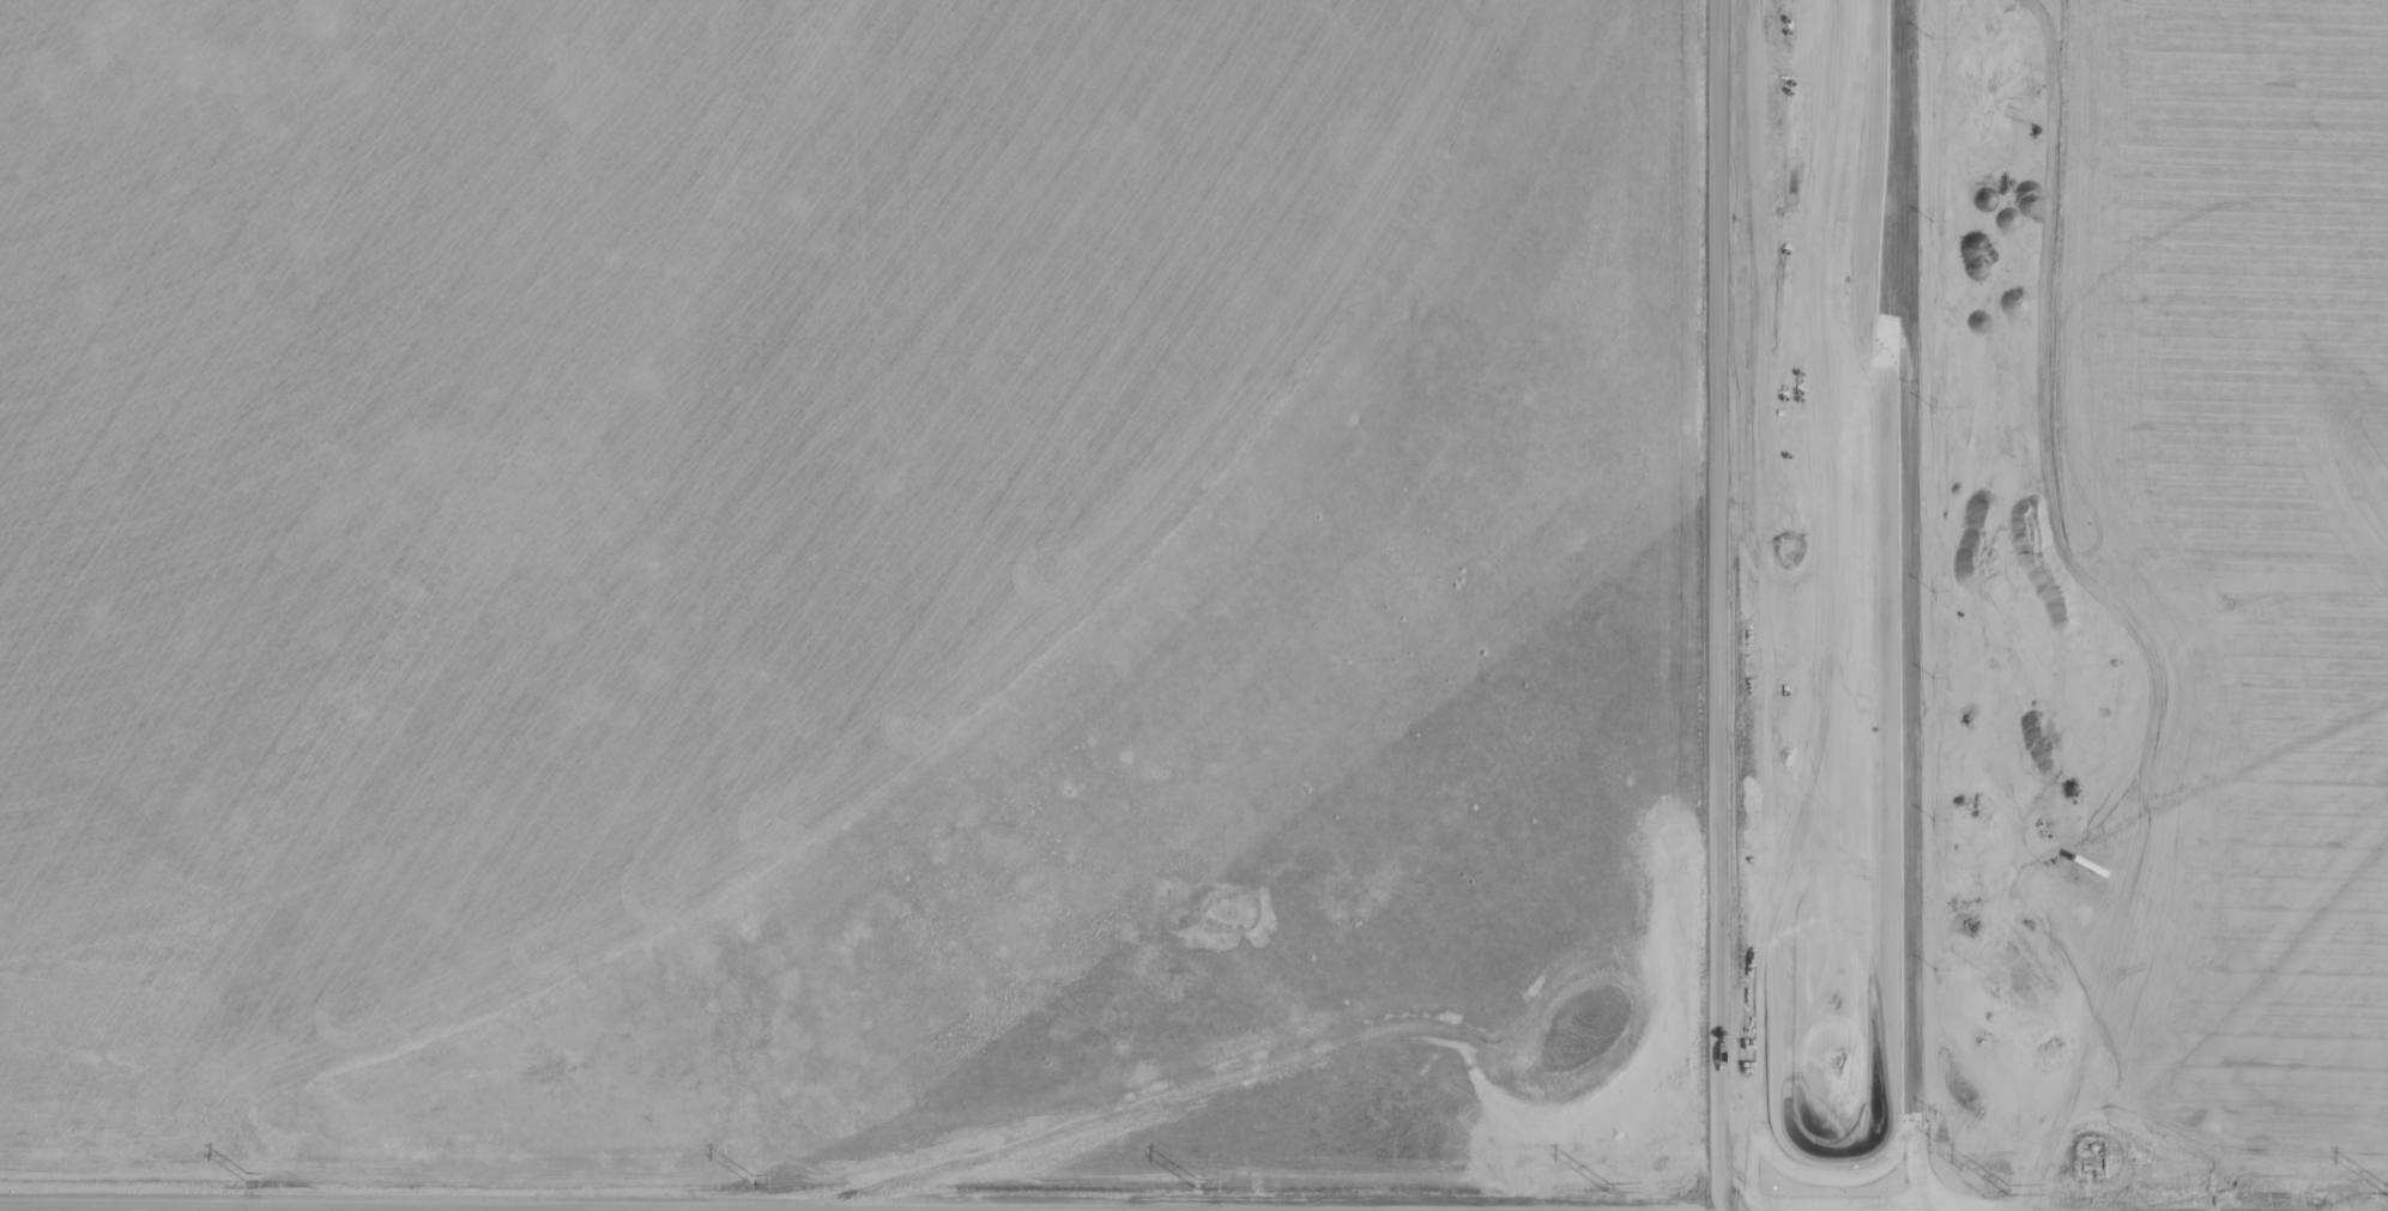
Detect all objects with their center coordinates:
road: (1721, 605)
road: (1914, 605)
power tower: (1251, 1177)
power tower: (247, 1179)
power tower: (751, 1180)
power tower: (1757, 1187)
power tower: (2262, 1189)
road: (739, 1205)

